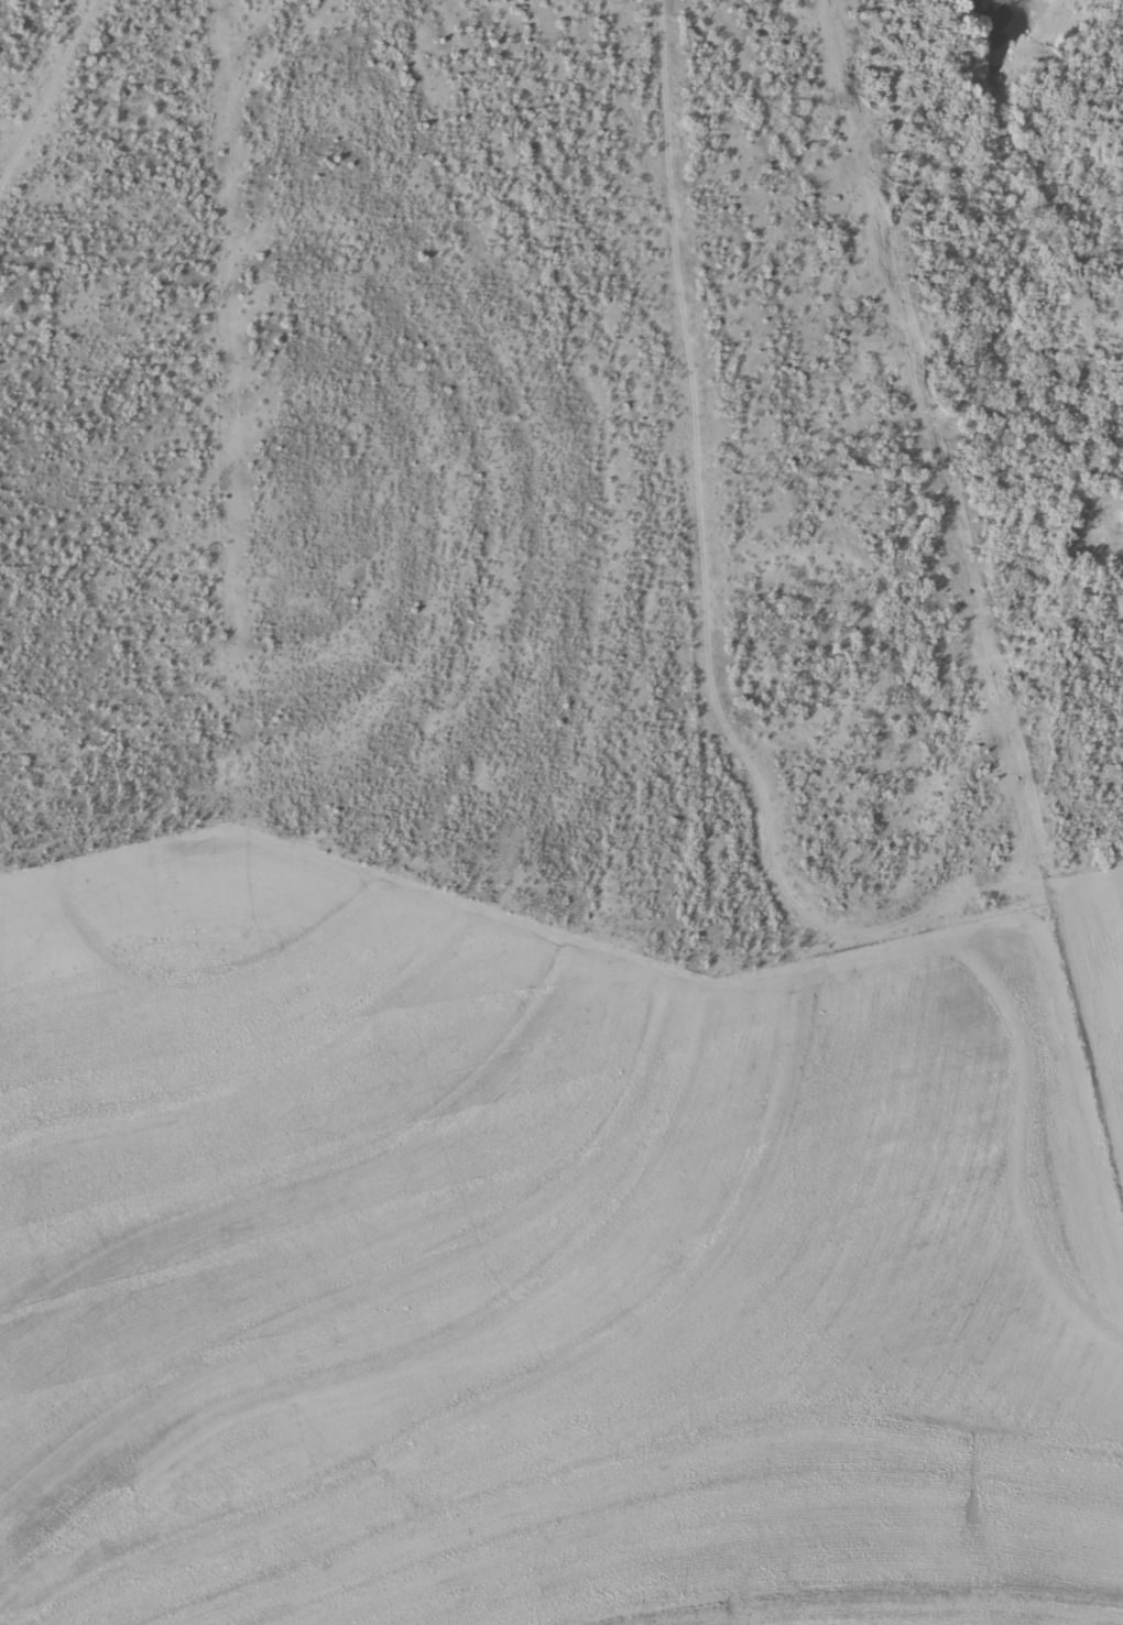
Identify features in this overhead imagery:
road: (33, 79)

